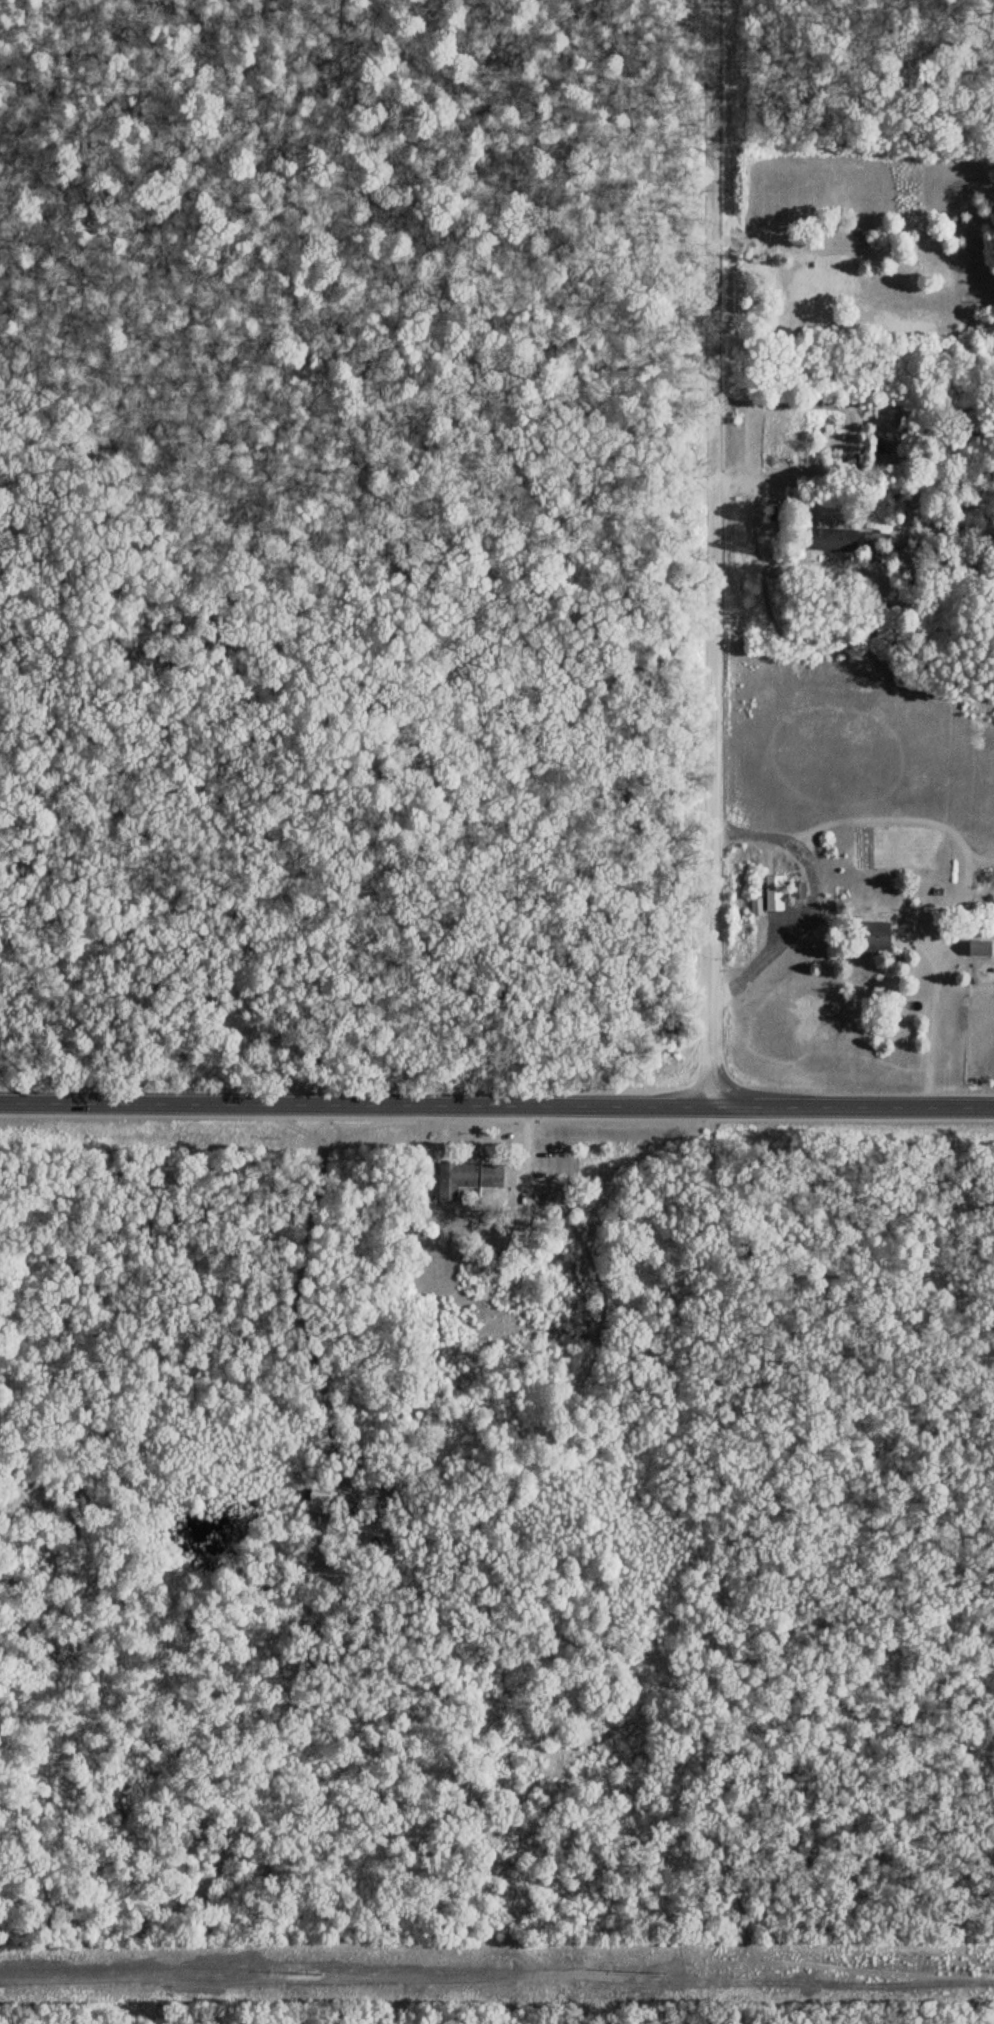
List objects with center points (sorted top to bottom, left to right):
building: (830, 541)
road: (712, 557)
building: (772, 894)
building: (874, 936)
building: (978, 949)
road: (496, 1112)
building: (468, 1176)
building: (316, 1503)

